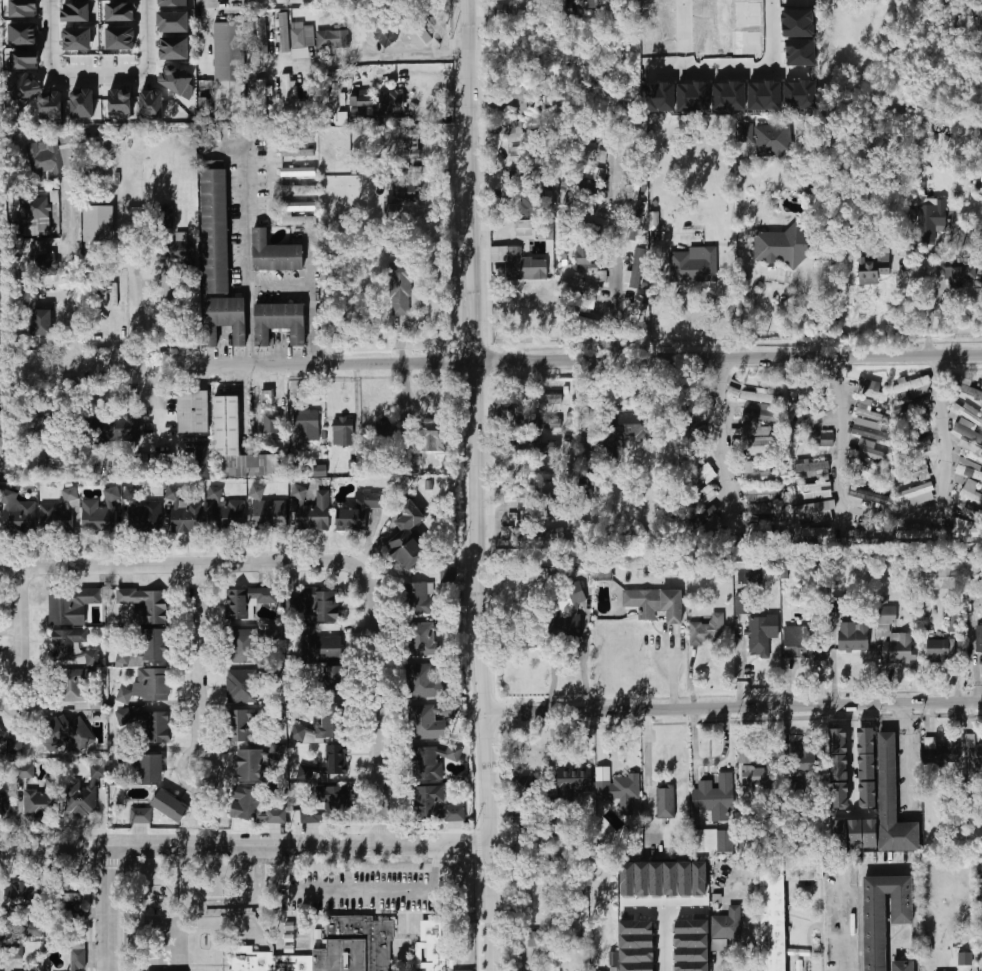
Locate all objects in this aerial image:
building: (174, 3)
building: (596, 5)
building: (23, 8)
building: (563, 8)
building: (76, 12)
building: (120, 12)
road: (202, 12)
building: (173, 21)
building: (381, 30)
building: (416, 31)
building: (23, 33)
building: (284, 33)
building: (260, 36)
building: (120, 38)
building: (302, 38)
building: (77, 39)
building: (332, 39)
building: (175, 48)
road: (381, 58)
building: (25, 59)
road: (727, 64)
building: (228, 71)
building: (175, 79)
road: (101, 84)
building: (25, 89)
building: (766, 94)
building: (802, 94)
building: (289, 95)
building: (261, 97)
building: (522, 98)
building: (391, 100)
building: (362, 101)
building: (82, 103)
building: (120, 103)
building: (152, 105)
building: (51, 106)
building: (368, 114)
building: (520, 132)
building: (746, 132)
building: (210, 134)
building: (771, 140)
building: (409, 143)
building: (296, 153)
building: (590, 153)
building: (526, 154)
building: (49, 157)
building: (580, 167)
building: (296, 172)
building: (579, 185)
building: (808, 185)
building: (979, 187)
building: (297, 189)
building: (408, 193)
building: (568, 201)
building: (528, 205)
building: (396, 213)
building: (299, 214)
building: (36, 216)
building: (164, 218)
building: (654, 221)
building: (931, 222)
building: (99, 224)
building: (636, 225)
building: (525, 227)
building: (215, 232)
building: (783, 245)
building: (179, 247)
road: (614, 252)
building: (277, 254)
building: (587, 258)
building: (42, 260)
building: (966, 263)
building: (520, 264)
building: (694, 266)
building: (637, 268)
building: (874, 269)
road: (776, 272)
building: (601, 275)
building: (961, 275)
road: (72, 279)
road: (247, 282)
building: (581, 286)
road: (939, 288)
road: (690, 289)
building: (401, 290)
building: (587, 304)
building: (638, 309)
building: (224, 319)
building: (42, 322)
building: (280, 322)
building: (591, 322)
road: (248, 325)
road: (526, 359)
building: (913, 385)
building: (977, 385)
building: (967, 388)
building: (872, 390)
building: (804, 391)
building: (759, 397)
building: (538, 398)
building: (912, 410)
building: (968, 410)
building: (869, 411)
building: (193, 412)
building: (587, 413)
building: (754, 413)
building: (509, 416)
building: (808, 416)
building: (538, 422)
building: (271, 426)
road: (719, 426)
building: (305, 427)
building: (918, 427)
building: (752, 428)
building: (114, 429)
building: (387, 429)
building: (625, 429)
building: (969, 430)
building: (0, 431)
building: (42, 431)
building: (343, 431)
building: (691, 431)
building: (870, 432)
building: (435, 436)
building: (227, 437)
building: (825, 438)
building: (537, 447)
building: (764, 448)
building: (870, 451)
building: (971, 451)
building: (201, 458)
building: (254, 465)
building: (970, 468)
building: (812, 469)
building: (320, 470)
building: (915, 472)
building: (874, 473)
building: (537, 474)
building: (697, 475)
building: (766, 476)
road: (483, 485)
building: (815, 491)
building: (972, 492)
building: (768, 493)
building: (918, 494)
building: (532, 495)
building: (871, 496)
building: (225, 511)
building: (312, 511)
building: (359, 511)
building: (817, 511)
building: (101, 512)
building: (970, 513)
building: (16, 514)
building: (59, 515)
building: (142, 515)
building: (270, 515)
building: (768, 515)
road: (890, 515)
building: (186, 517)
building: (712, 524)
building: (969, 530)
building: (817, 532)
building: (920, 532)
building: (507, 533)
building: (872, 535)
building: (408, 537)
road: (322, 562)
building: (973, 571)
building: (447, 574)
building: (538, 574)
building: (938, 576)
building: (980, 591)
building: (421, 598)
building: (246, 600)
building: (654, 603)
building: (743, 604)
building: (317, 605)
building: (573, 605)
building: (69, 606)
building: (152, 607)
building: (954, 621)
road: (20, 623)
building: (708, 630)
building: (762, 633)
building: (854, 638)
building: (893, 638)
building: (979, 639)
building: (423, 640)
building: (803, 642)
building: (320, 646)
building: (72, 647)
building: (145, 647)
building: (239, 647)
building: (938, 651)
road: (805, 662)
road: (586, 663)
road: (555, 666)
road: (197, 668)
building: (334, 679)
building: (424, 681)
building: (153, 685)
building: (241, 686)
building: (72, 688)
road: (7, 704)
road: (735, 706)
building: (124, 717)
building: (426, 723)
building: (154, 726)
building: (240, 726)
building: (321, 727)
building: (68, 732)
building: (1, 734)
building: (15, 746)
building: (942, 751)
road: (909, 755)
building: (745, 756)
building: (976, 756)
building: (807, 757)
road: (853, 759)
building: (433, 761)
road: (710, 761)
building: (249, 762)
building: (322, 766)
building: (866, 767)
building: (839, 768)
building: (150, 769)
building: (25, 771)
building: (761, 776)
building: (573, 782)
building: (525, 783)
building: (618, 788)
building: (87, 795)
building: (715, 797)
building: (665, 801)
building: (891, 802)
building: (38, 803)
building: (435, 805)
building: (5, 806)
building: (329, 806)
building: (172, 807)
building: (254, 808)
building: (141, 815)
building: (555, 826)
building: (863, 833)
building: (841, 835)
building: (712, 842)
road: (246, 845)
road: (888, 868)
building: (664, 879)
road: (325, 888)
road: (365, 889)
building: (22, 896)
building: (781, 900)
building: (73, 902)
road: (107, 909)
building: (884, 914)
road: (848, 925)
building: (291, 926)
building: (726, 927)
building: (34, 930)
building: (264, 932)
building: (319, 934)
building: (291, 938)
building: (536, 938)
park: (168, 943)
building: (636, 945)
building: (692, 945)
building: (433, 946)
building: (291, 949)
building: (330, 949)
building: (15, 952)
building: (613, 958)
building: (965, 958)
building: (76, 959)
road: (666, 963)
road: (722, 964)
building: (902, 966)
building: (0, 967)
building: (463, 970)

